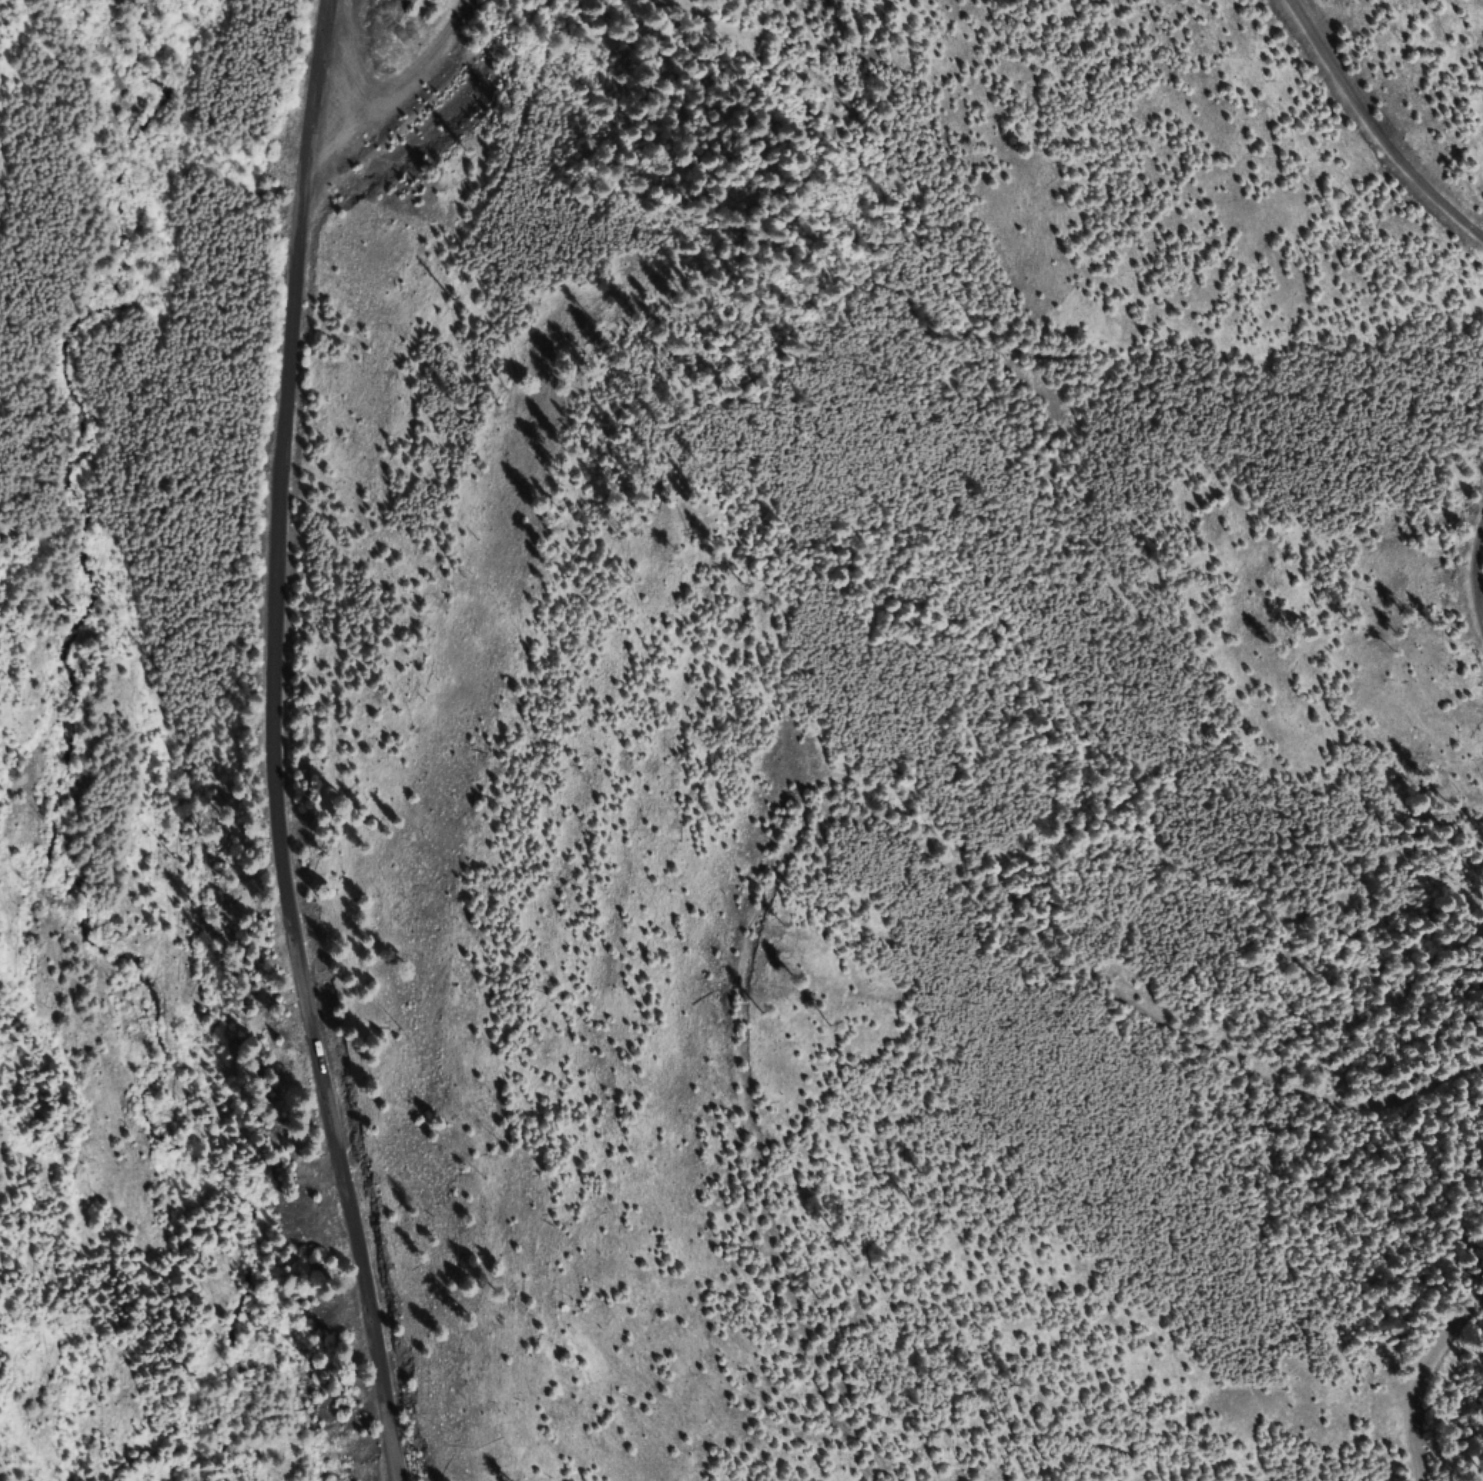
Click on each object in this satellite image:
road: (393, 67)
road: (1378, 109)
road: (248, 745)
road: (1452, 1441)

